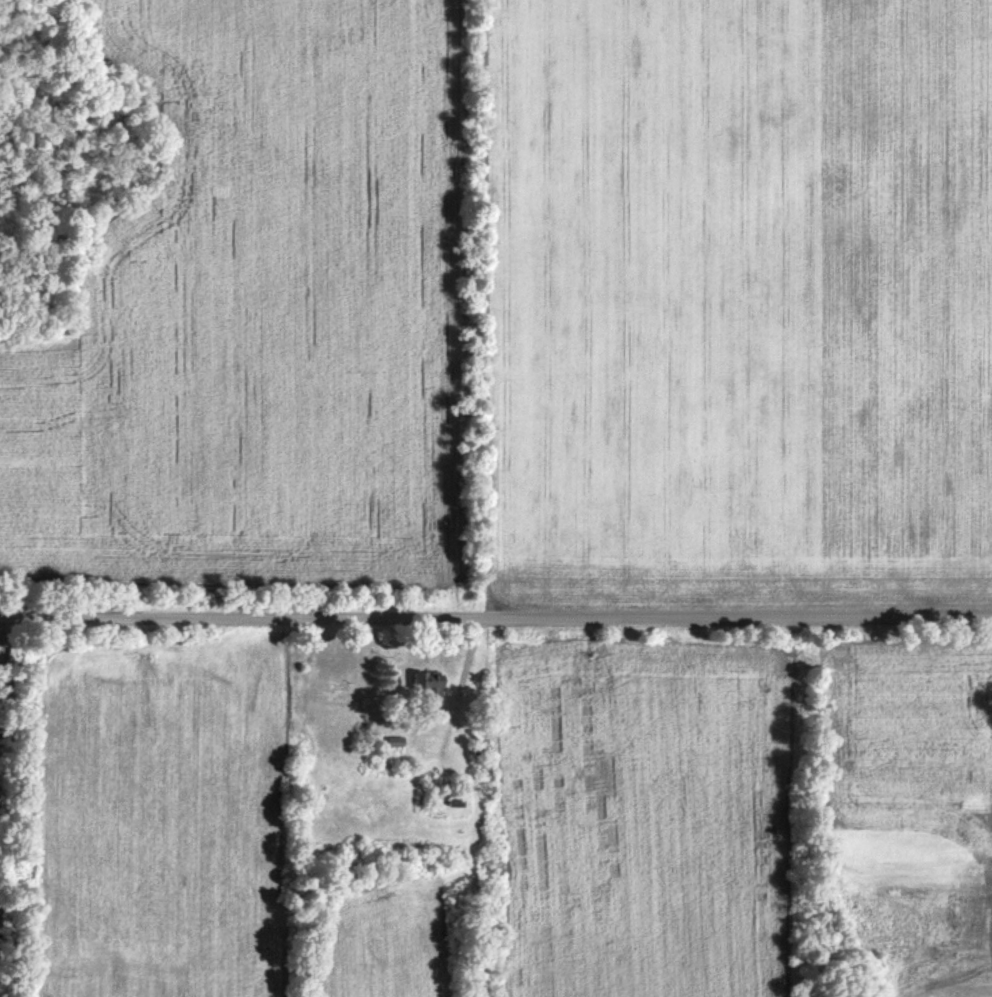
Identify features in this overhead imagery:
road: (496, 618)
building: (426, 683)
building: (340, 697)
building: (394, 742)
building: (452, 803)

